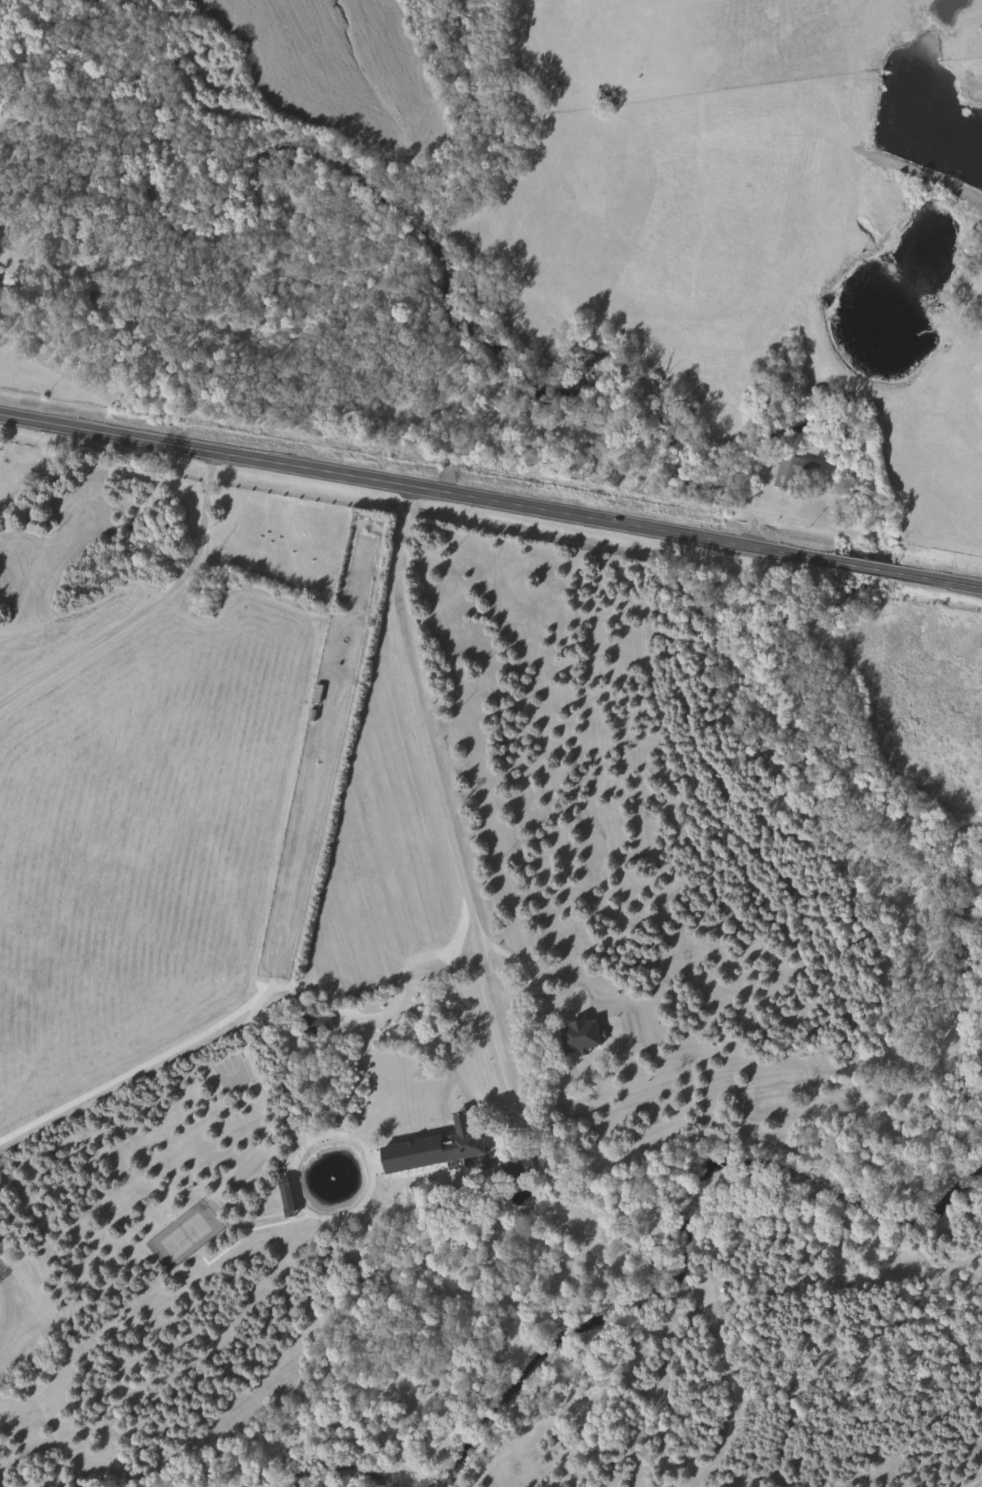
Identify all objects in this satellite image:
building: (795, 470)
building: (12, 471)
road: (878, 491)
road: (491, 495)
road: (148, 604)
road: (423, 713)
road: (525, 769)
road: (623, 811)
road: (465, 916)
road: (525, 946)
road: (403, 982)
road: (460, 993)
building: (581, 1033)
road: (174, 1049)
building: (464, 1143)
building: (516, 1173)
road: (608, 1230)

